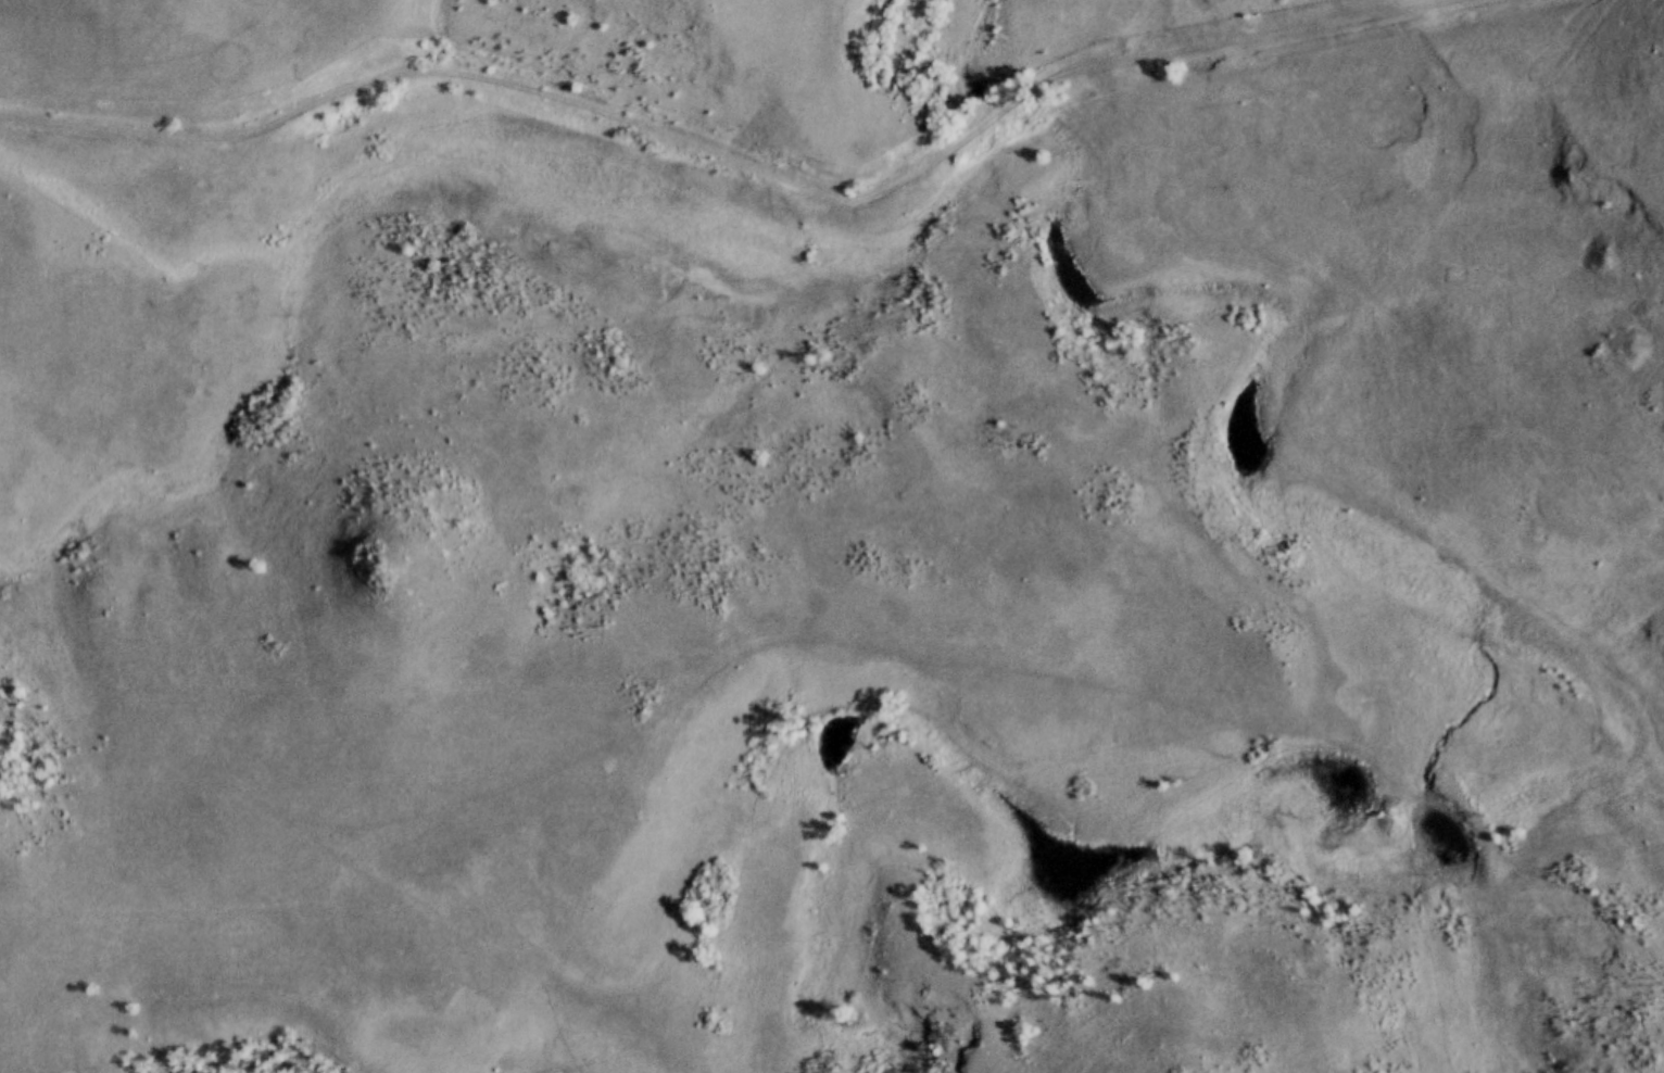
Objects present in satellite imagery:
road: (744, 163)

